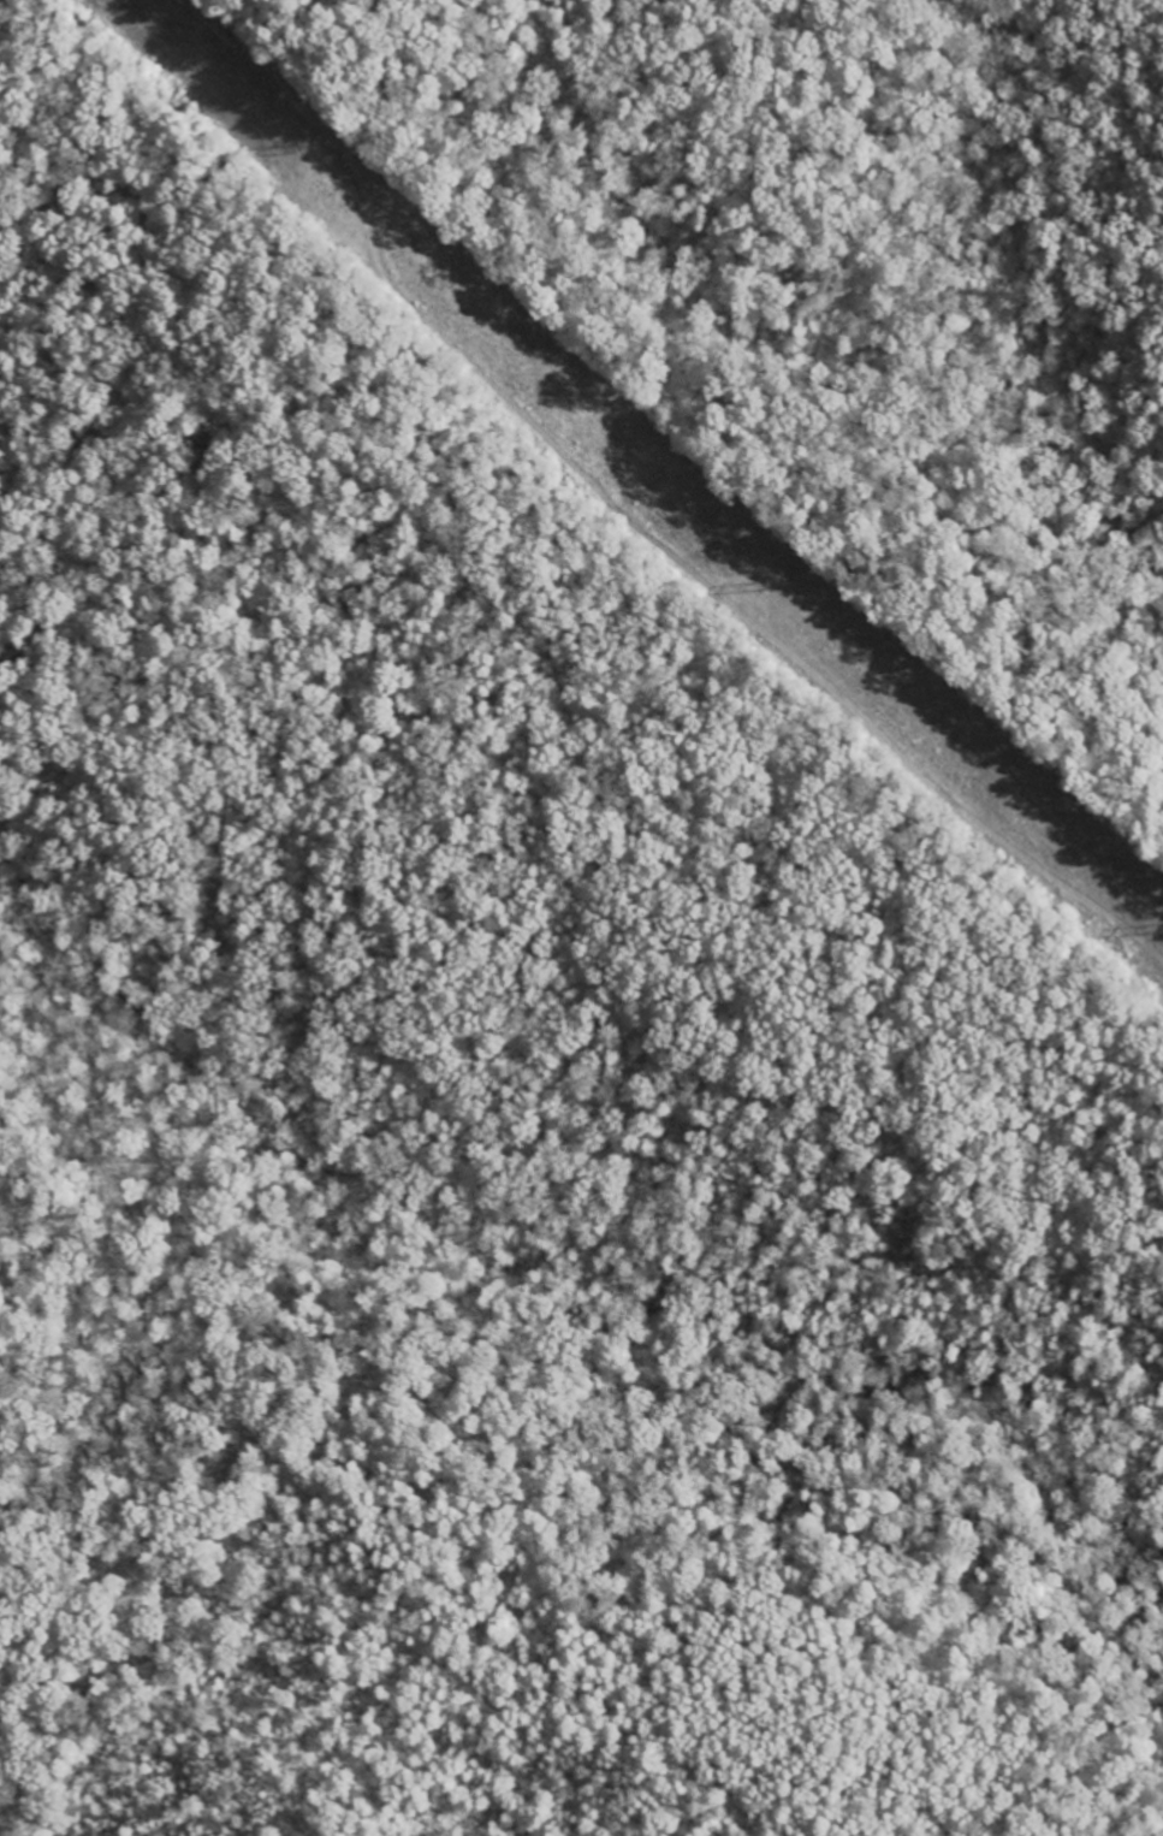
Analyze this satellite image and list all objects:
road: (1, 1)
power tower: (293, 153)
power tower: (1155, 922)

